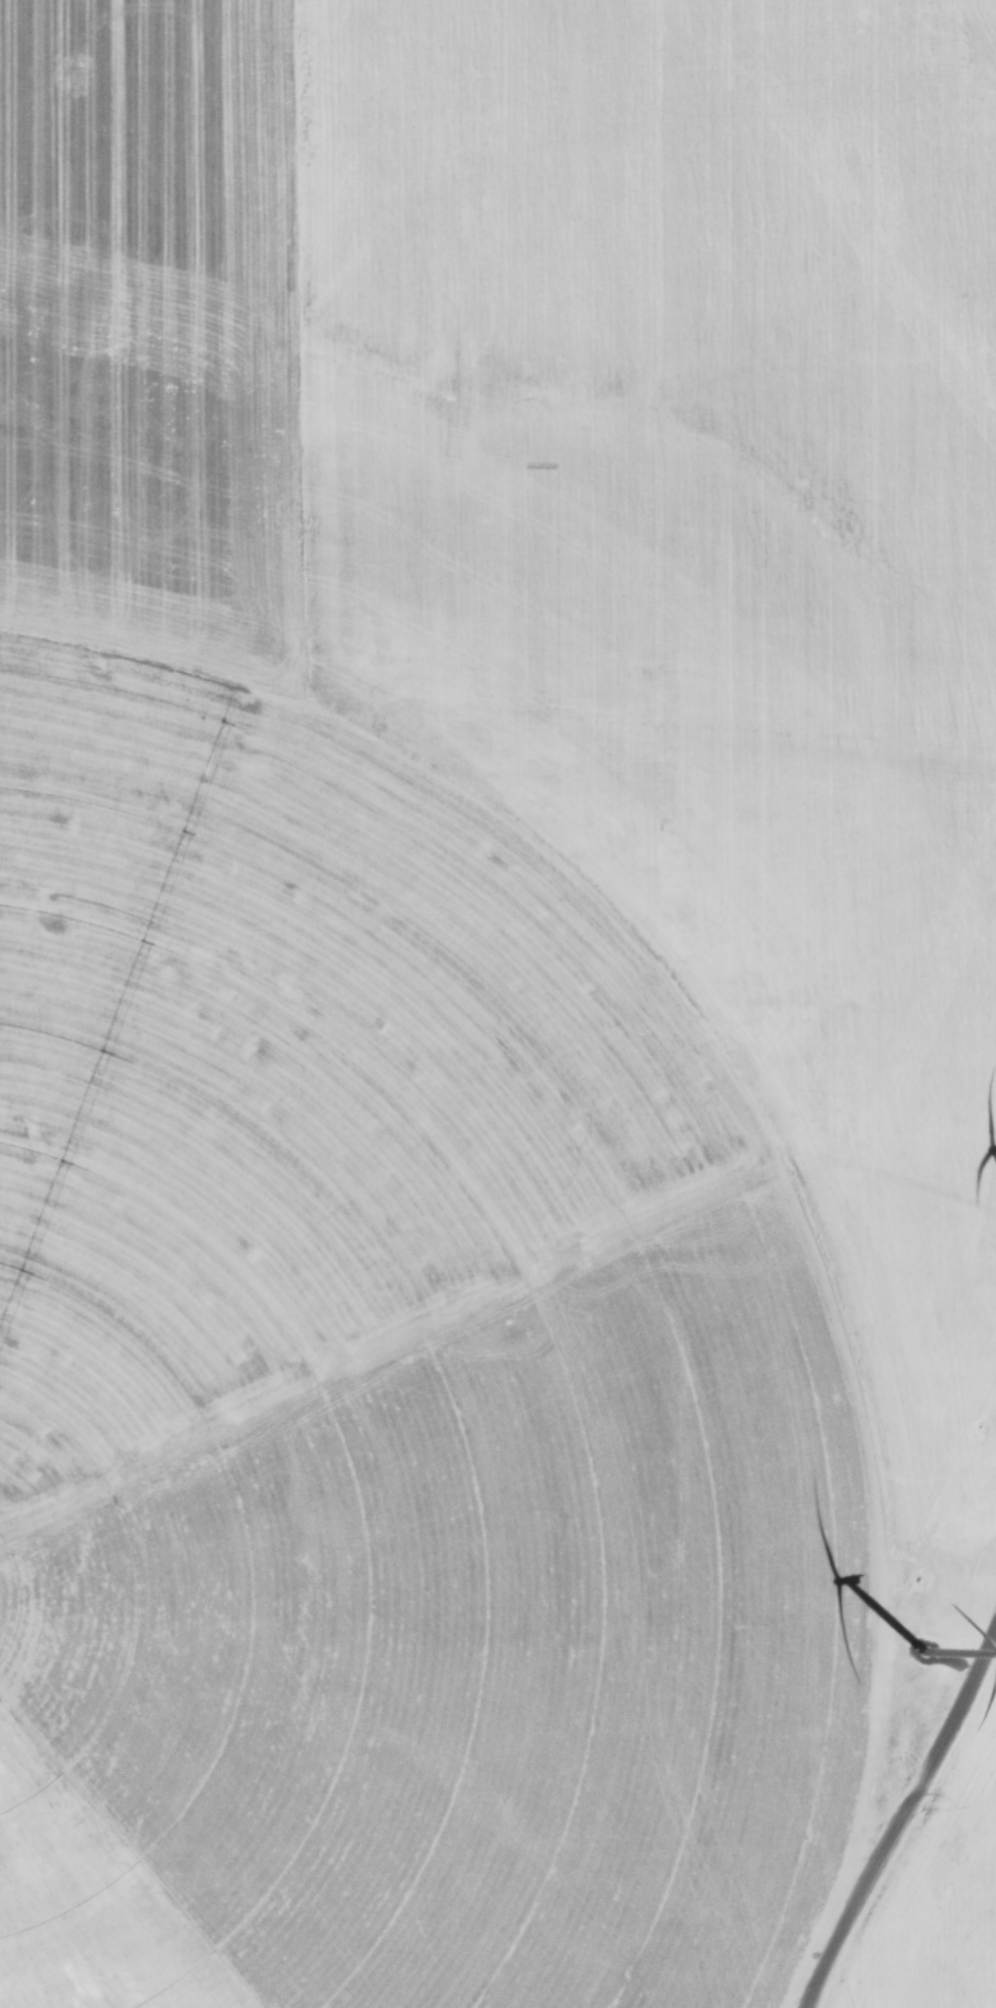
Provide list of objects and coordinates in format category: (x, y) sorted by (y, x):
wind turbine: (926, 1659)
road: (895, 1802)

